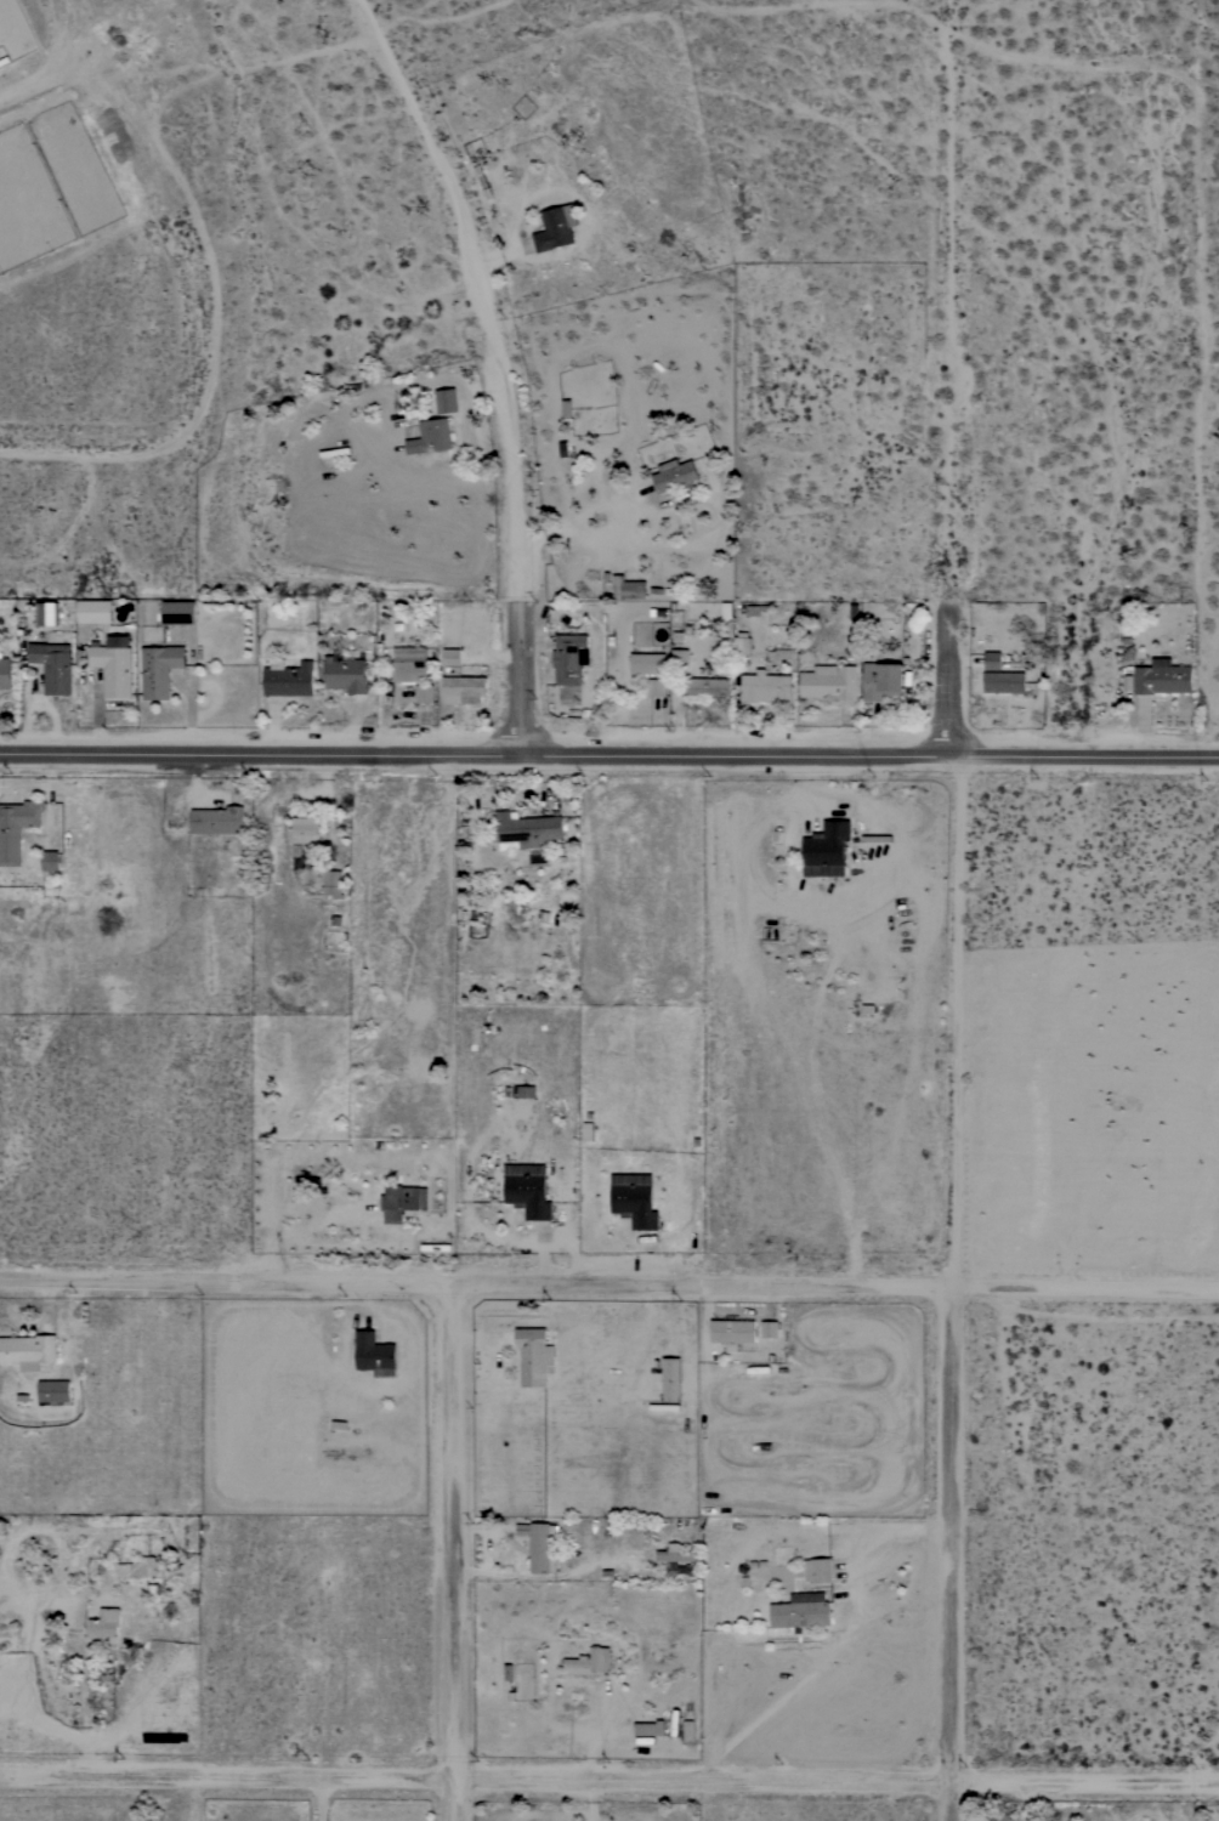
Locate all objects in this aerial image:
road: (57, 72)
building: (556, 227)
road: (477, 293)
road: (946, 320)
building: (446, 399)
building: (431, 436)
building: (675, 476)
building: (628, 588)
building: (22, 605)
building: (95, 611)
building: (46, 612)
building: (178, 612)
building: (742, 643)
building: (452, 657)
building: (569, 657)
building: (679, 657)
building: (992, 660)
building: (647, 663)
building: (52, 665)
building: (113, 665)
building: (159, 669)
building: (5, 671)
building: (346, 671)
building: (409, 671)
building: (288, 677)
building: (1162, 677)
building: (883, 679)
building: (1004, 681)
road: (518, 682)
building: (829, 682)
road: (949, 682)
building: (707, 686)
building: (657, 687)
building: (766, 687)
building: (463, 690)
building: (424, 693)
road: (608, 760)
building: (217, 819)
building: (16, 827)
building: (305, 829)
building: (526, 829)
building: (826, 849)
building: (50, 861)
building: (331, 883)
building: (70, 896)
road: (954, 1028)
road: (447, 1094)
building: (528, 1190)
building: (634, 1199)
building: (402, 1201)
road: (608, 1290)
building: (770, 1328)
building: (732, 1331)
building: (28, 1350)
building: (374, 1354)
building: (534, 1356)
building: (671, 1379)
building: (55, 1390)
building: (540, 1545)
road: (449, 1554)
road: (948, 1558)
building: (675, 1559)
building: (817, 1570)
building: (153, 1572)
building: (800, 1611)
building: (104, 1623)
road: (834, 1646)
building: (589, 1662)
building: (650, 1728)
road: (608, 1786)

